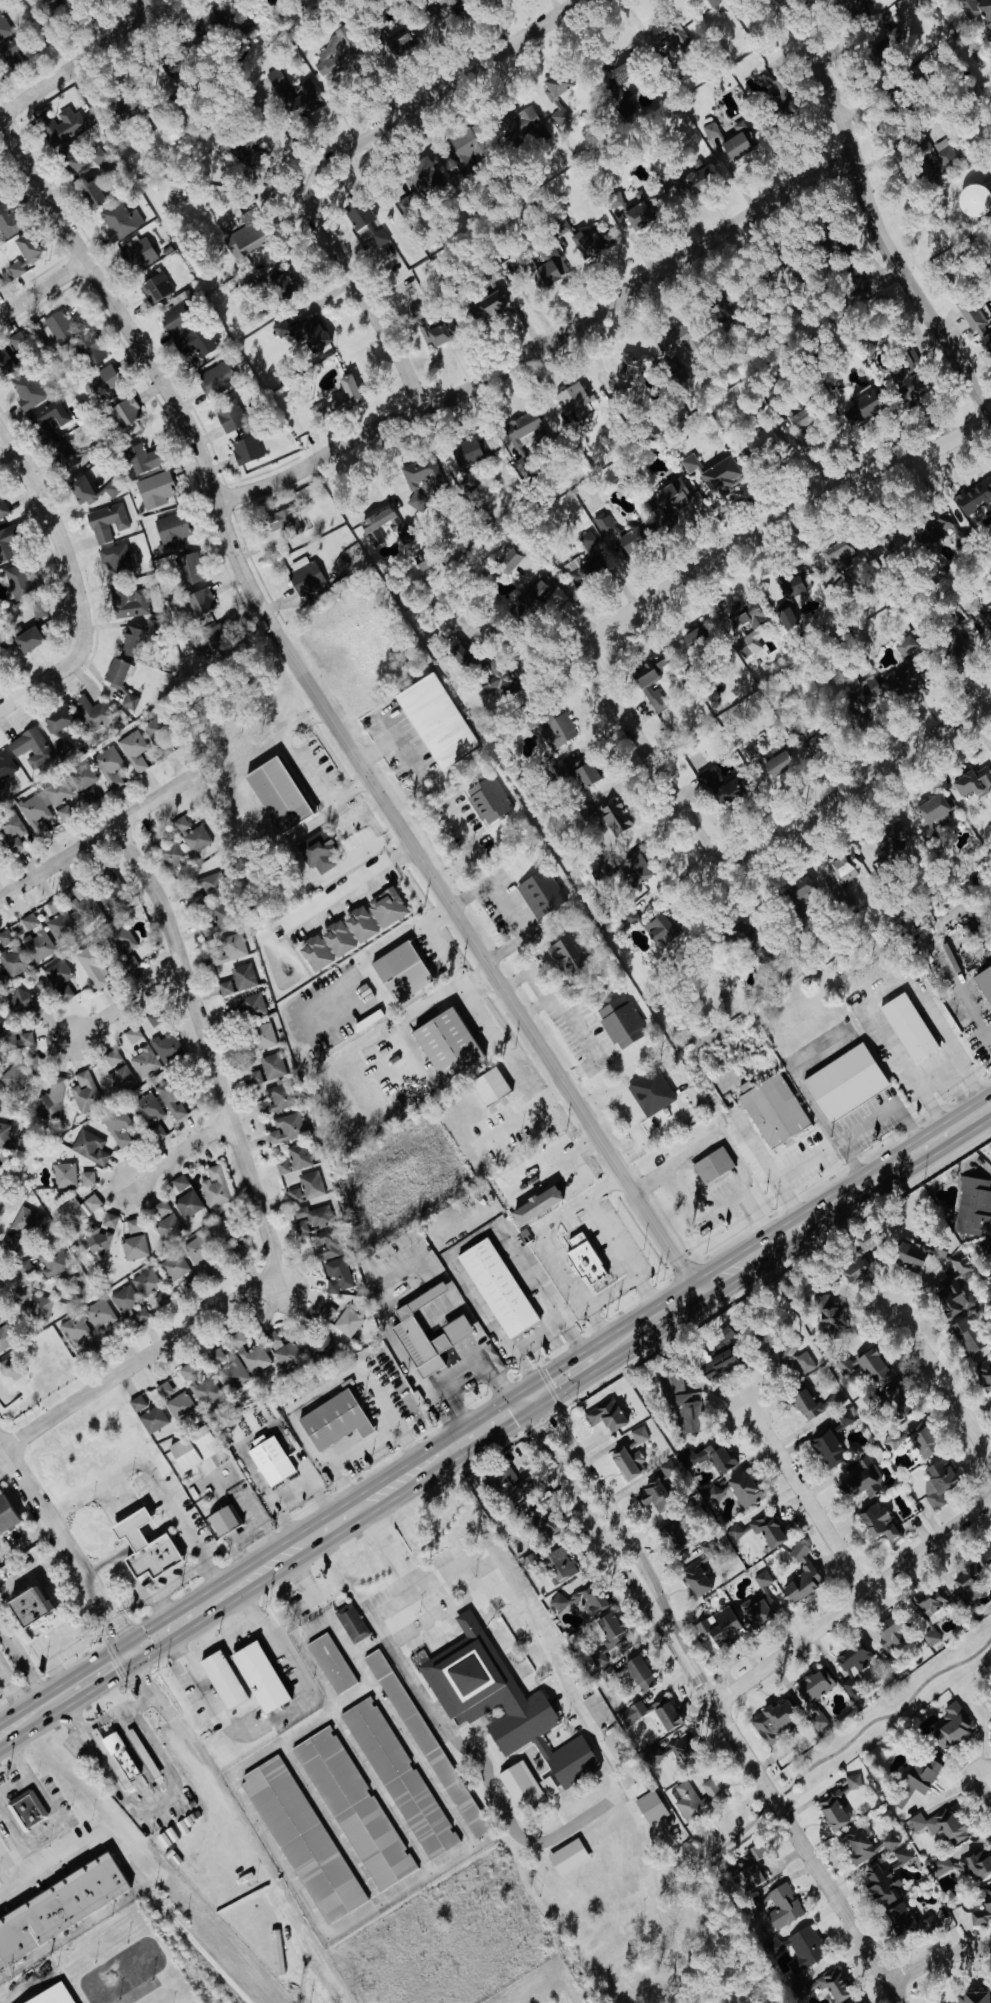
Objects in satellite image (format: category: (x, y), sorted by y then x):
building: (712, 1)
building: (439, 5)
building: (854, 6)
building: (978, 9)
building: (211, 20)
building: (4, 27)
building: (669, 35)
building: (896, 35)
building: (400, 45)
building: (11, 50)
road: (77, 62)
building: (620, 82)
building: (281, 86)
road: (436, 89)
building: (780, 97)
building: (301, 105)
building: (63, 126)
building: (525, 126)
building: (714, 132)
building: (739, 142)
building: (923, 146)
building: (466, 147)
building: (245, 149)
building: (99, 156)
building: (941, 159)
building: (72, 161)
building: (421, 175)
building: (691, 178)
building: (91, 193)
building: (1, 195)
building: (615, 200)
building: (974, 200)
road: (870, 213)
building: (358, 214)
building: (638, 216)
building: (122, 219)
building: (8, 221)
building: (561, 225)
building: (589, 242)
building: (383, 247)
building: (23, 253)
building: (140, 254)
building: (550, 266)
building: (280, 283)
building: (157, 285)
road: (42, 287)
building: (858, 288)
road: (364, 298)
building: (492, 304)
building: (414, 311)
building: (176, 318)
building: (976, 321)
building: (61, 325)
building: (282, 328)
building: (313, 332)
building: (435, 334)
building: (197, 341)
building: (986, 342)
building: (20, 343)
road: (542, 344)
building: (869, 348)
building: (89, 349)
building: (912, 355)
building: (5, 363)
building: (103, 380)
building: (217, 380)
building: (908, 387)
building: (29, 390)
road: (168, 391)
building: (347, 393)
building: (571, 398)
building: (865, 405)
building: (126, 411)
building: (320, 411)
building: (231, 414)
building: (800, 419)
building: (50, 420)
road: (455, 426)
building: (523, 431)
building: (758, 442)
building: (247, 448)
building: (65, 453)
building: (467, 453)
building: (142, 459)
building: (691, 463)
road: (379, 475)
building: (720, 477)
building: (423, 479)
building: (81, 488)
building: (113, 488)
building: (155, 490)
building: (975, 497)
building: (669, 502)
building: (3, 508)
road: (774, 515)
building: (283, 521)
building: (107, 522)
building: (604, 523)
building: (381, 524)
building: (938, 529)
building: (172, 531)
road: (62, 534)
building: (893, 540)
building: (8, 544)
building: (840, 553)
building: (118, 558)
building: (508, 560)
building: (584, 562)
building: (423, 565)
building: (188, 568)
building: (306, 576)
building: (20, 582)
building: (796, 584)
building: (201, 602)
building: (130, 603)
building: (972, 604)
building: (744, 616)
building: (785, 616)
building: (986, 618)
building: (25, 637)
building: (697, 637)
building: (132, 640)
building: (210, 642)
building: (752, 643)
building: (907, 645)
building: (4, 647)
building: (953, 647)
building: (744, 652)
building: (462, 654)
building: (118, 670)
road: (42, 677)
building: (650, 679)
building: (499, 680)
building: (903, 681)
building: (869, 691)
building: (132, 701)
building: (93, 712)
building: (436, 720)
building: (58, 726)
building: (154, 727)
building: (558, 727)
building: (32, 747)
road: (377, 748)
building: (135, 749)
building: (779, 763)
road: (302, 764)
building: (6, 766)
building: (111, 766)
road: (662, 771)
building: (585, 773)
building: (84, 776)
road: (866, 779)
building: (973, 780)
building: (720, 785)
building: (277, 793)
building: (488, 798)
building: (46, 804)
building: (935, 810)
building: (65, 812)
building: (615, 816)
road: (102, 826)
building: (13, 831)
building: (192, 834)
building: (892, 839)
building: (0, 846)
building: (320, 852)
building: (172, 853)
road: (467, 856)
building: (846, 864)
building: (637, 868)
road: (674, 877)
building: (113, 883)
building: (210, 883)
road: (351, 885)
building: (541, 891)
building: (800, 892)
building: (199, 898)
building: (84, 904)
building: (387, 907)
road: (506, 908)
building: (58, 915)
building: (628, 919)
building: (31, 921)
building: (215, 921)
building: (361, 924)
building: (662, 927)
road: (407, 930)
building: (744, 936)
building: (338, 938)
building: (122, 939)
building: (39, 945)
building: (231, 949)
building: (316, 953)
building: (566, 953)
building: (13, 954)
building: (94, 967)
building: (401, 971)
building: (1, 975)
road: (474, 975)
building: (60, 979)
building: (984, 981)
road: (543, 982)
road: (497, 983)
building: (226, 987)
road: (428, 998)
road: (130, 999)
building: (26, 1002)
road: (972, 1007)
building: (621, 1021)
building: (908, 1026)
building: (134, 1034)
building: (263, 1035)
building: (20, 1039)
building: (446, 1043)
road: (587, 1043)
building: (168, 1047)
building: (114, 1057)
building: (146, 1062)
building: (274, 1066)
road: (940, 1074)
building: (18, 1075)
building: (255, 1077)
building: (122, 1079)
building: (845, 1082)
building: (489, 1085)
building: (651, 1091)
building: (86, 1092)
building: (276, 1099)
building: (51, 1100)
building: (175, 1103)
building: (149, 1108)
building: (774, 1110)
road: (867, 1121)
building: (120, 1127)
building: (287, 1128)
building: (157, 1130)
building: (5, 1134)
building: (91, 1146)
road: (183, 1146)
building: (295, 1159)
building: (713, 1164)
building: (66, 1174)
building: (88, 1178)
building: (181, 1182)
road: (605, 1185)
building: (216, 1186)
building: (307, 1187)
road: (270, 1193)
building: (190, 1204)
building: (81, 1206)
building: (974, 1206)
building: (164, 1207)
road: (705, 1213)
building: (312, 1217)
building: (111, 1219)
building: (27, 1221)
road: (805, 1221)
building: (135, 1225)
building: (170, 1227)
road: (469, 1237)
building: (11, 1242)
building: (99, 1242)
building: (136, 1246)
building: (199, 1249)
building: (911, 1253)
road: (625, 1254)
building: (858, 1257)
building: (584, 1258)
building: (55, 1261)
building: (333, 1261)
road: (557, 1262)
building: (26, 1266)
building: (178, 1266)
building: (148, 1281)
building: (497, 1287)
building: (955, 1288)
road: (613, 1291)
building: (127, 1298)
building: (42, 1307)
building: (327, 1312)
building: (101, 1313)
building: (829, 1313)
building: (142, 1314)
building: (1, 1319)
building: (349, 1321)
building: (456, 1329)
building: (76, 1331)
building: (967, 1335)
building: (7, 1337)
road: (537, 1338)
building: (323, 1346)
building: (284, 1350)
building: (252, 1354)
building: (719, 1357)
building: (796, 1359)
road: (578, 1364)
building: (845, 1364)
building: (873, 1365)
building: (11, 1369)
building: (230, 1369)
road: (461, 1370)
building: (985, 1375)
road: (943, 1382)
building: (202, 1385)
building: (164, 1389)
traffic signals: (537, 1391)
building: (888, 1394)
building: (681, 1401)
building: (831, 1401)
building: (139, 1403)
traffic signals: (519, 1404)
building: (182, 1405)
building: (607, 1415)
building: (847, 1416)
building: (154, 1419)
building: (333, 1420)
road: (480, 1428)
building: (922, 1439)
building: (892, 1440)
road: (364, 1445)
building: (194, 1448)
building: (829, 1448)
building: (632, 1455)
building: (711, 1458)
building: (270, 1459)
road: (6, 1471)
road: (122, 1471)
building: (939, 1481)
building: (863, 1482)
road: (396, 1483)
building: (512, 1484)
building: (743, 1487)
building: (714, 1492)
building: (656, 1496)
road: (602, 1498)
road: (806, 1500)
road: (584, 1510)
building: (7, 1515)
building: (224, 1519)
building: (878, 1522)
road: (163, 1529)
building: (762, 1530)
building: (673, 1536)
road: (25, 1540)
road: (138, 1542)
road: (395, 1545)
building: (144, 1546)
road: (67, 1549)
road: (289, 1552)
road: (200, 1555)
road: (106, 1561)
building: (562, 1564)
road: (36, 1568)
building: (802, 1575)
building: (964, 1576)
building: (696, 1579)
road: (177, 1581)
road: (142, 1590)
building: (591, 1600)
building: (930, 1600)
road: (852, 1601)
building: (559, 1602)
building: (760, 1602)
road: (523, 1604)
building: (26, 1605)
road: (187, 1613)
road: (451, 1614)
building: (352, 1622)
building: (720, 1626)
road: (239, 1628)
building: (891, 1632)
building: (932, 1636)
road: (148, 1641)
traffic signals: (129, 1654)
building: (855, 1657)
building: (332, 1663)
road: (23, 1668)
building: (640, 1672)
building: (259, 1677)
road: (88, 1679)
building: (222, 1679)
building: (854, 1689)
road: (16, 1690)
building: (813, 1696)
building: (499, 1701)
building: (655, 1713)
building: (776, 1718)
road: (24, 1720)
building: (953, 1725)
road: (262, 1726)
road: (350, 1742)
building: (427, 1742)
building: (687, 1747)
building: (656, 1754)
building: (117, 1757)
road: (486, 1770)
building: (401, 1777)
building: (916, 1779)
building: (855, 1781)
building: (520, 1784)
road: (987, 1785)
building: (548, 1786)
road: (779, 1793)
building: (697, 1798)
road: (173, 1805)
building: (651, 1807)
road: (778, 1807)
building: (27, 1808)
building: (356, 1808)
building: (834, 1812)
road: (57, 1814)
road: (456, 1817)
building: (940, 1825)
road: (67, 1838)
building: (304, 1839)
building: (869, 1845)
road: (250, 1847)
building: (757, 1850)
building: (969, 1851)
building: (569, 1857)
road: (18, 1861)
building: (942, 1865)
building: (976, 1865)
road: (7, 1878)
road: (145, 1878)
building: (748, 1878)
building: (881, 1884)
building: (58, 1907)
building: (983, 1908)
building: (777, 1910)
building: (900, 1917)
building: (930, 1924)
building: (802, 1947)
road: (936, 1956)
building: (834, 1985)
building: (53, 1995)
building: (974, 1996)
building: (851, 2002)

